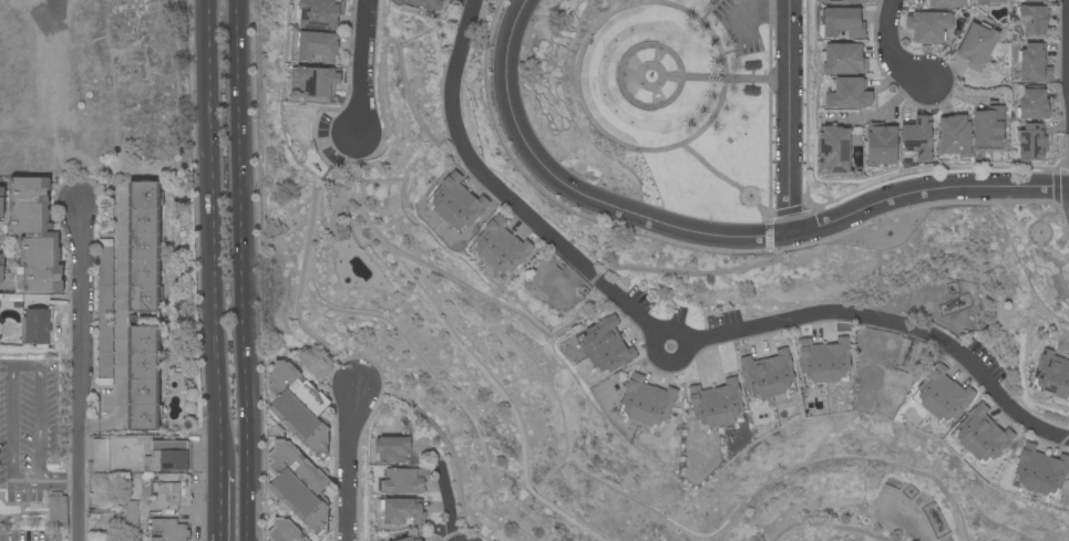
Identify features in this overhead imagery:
building: (711, 1)
building: (846, 1)
building: (1036, 1)
road: (624, 2)
building: (989, 2)
building: (428, 3)
building: (948, 3)
road: (709, 10)
road: (759, 12)
building: (320, 13)
building: (1034, 21)
building: (843, 22)
building: (929, 25)
parking lot: (738, 27)
building: (978, 45)
building: (317, 46)
road: (400, 46)
road: (894, 51)
building: (843, 59)
building: (1034, 63)
road: (651, 64)
road: (363, 67)
road: (576, 69)
road: (726, 79)
building: (317, 81)
road: (620, 83)
road: (649, 86)
building: (849, 94)
park: (661, 101)
building: (1034, 104)
road: (769, 106)
road: (791, 116)
building: (988, 127)
building: (955, 136)
building: (857, 138)
building: (917, 138)
building: (1031, 143)
building: (882, 145)
building: (833, 147)
building: (1, 201)
road: (744, 201)
building: (456, 204)
road: (1031, 223)
building: (342, 231)
road: (213, 233)
road: (711, 233)
building: (34, 238)
building: (500, 248)
park: (1039, 251)
road: (1051, 259)
building: (1, 267)
road: (240, 270)
road: (435, 272)
petroleum well: (955, 300)
building: (144, 305)
building: (105, 312)
building: (37, 327)
road: (310, 333)
road: (1066, 340)
road: (672, 345)
building: (605, 347)
petroleum well: (904, 354)
building: (824, 362)
road: (13, 367)
road: (76, 375)
building: (768, 376)
building: (1051, 376)
building: (943, 396)
building: (647, 404)
building: (717, 405)
building: (298, 407)
parking lot: (28, 428)
building: (981, 436)
building: (391, 449)
building: (99, 457)
building: (168, 457)
road: (347, 460)
building: (1040, 472)
building: (404, 481)
road: (58, 482)
building: (298, 486)
building: (173, 491)
road: (219, 501)
building: (58, 510)
building: (402, 511)
building: (131, 513)
petroleum well: (936, 514)
road: (828, 527)
building: (169, 530)
building: (285, 531)
parking lot: (33, 535)
road: (218, 538)
building: (411, 538)

